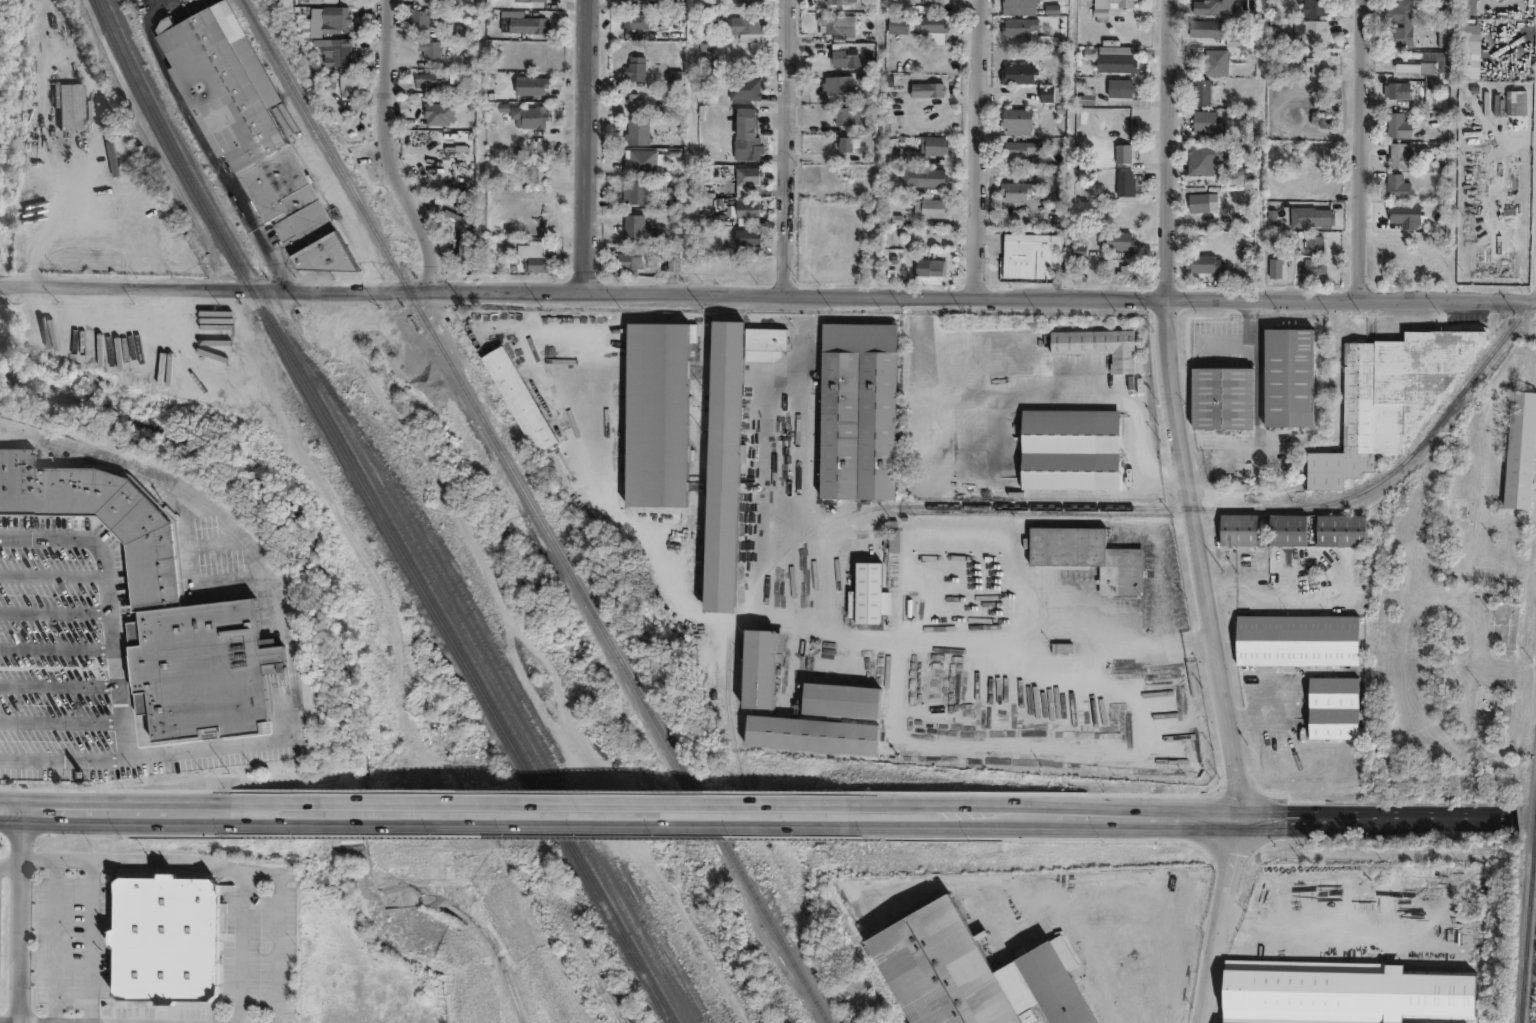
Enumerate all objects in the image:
building: (532, 0)
building: (742, 0)
building: (837, 1)
building: (933, 2)
building: (644, 3)
building: (1119, 4)
building: (1017, 7)
building: (1210, 7)
building: (1314, 7)
building: (1467, 7)
building: (1442, 8)
building: (1099, 14)
building: (423, 15)
building: (330, 17)
building: (529, 19)
building: (629, 23)
building: (1398, 23)
building: (744, 25)
building: (835, 25)
building: (921, 27)
building: (1017, 27)
building: (1212, 32)
building: (1310, 32)
building: (1442, 34)
building: (1042, 41)
building: (428, 46)
building: (334, 50)
building: (1469, 50)
building: (1113, 51)
building: (840, 54)
building: (1431, 58)
building: (1215, 62)
building: (1113, 64)
building: (1319, 65)
building: (635, 68)
building: (1016, 74)
building: (424, 76)
building: (531, 82)
building: (745, 87)
building: (352, 88)
building: (837, 89)
building: (1118, 89)
building: (925, 90)
building: (1396, 90)
building: (1200, 92)
building: (1045, 94)
building: (1085, 97)
building: (635, 103)
building: (66, 105)
building: (1524, 105)
building: (439, 112)
building: (528, 114)
building: (844, 116)
building: (1319, 118)
building: (1014, 121)
building: (1203, 122)
building: (1397, 126)
building: (637, 131)
building: (747, 135)
building: (255, 141)
building: (846, 143)
building: (932, 145)
road: (588, 147)
road: (783, 148)
road: (880, 148)
road: (390, 149)
road: (977, 149)
road: (1359, 150)
building: (1016, 151)
building: (1120, 154)
building: (898, 157)
building: (1399, 157)
building: (1203, 158)
building: (643, 161)
building: (431, 169)
building: (532, 172)
building: (747, 174)
building: (921, 178)
building: (458, 181)
building: (1123, 184)
building: (1396, 187)
building: (637, 191)
building: (1013, 192)
building: (1202, 202)
building: (473, 205)
building: (747, 208)
building: (928, 209)
road: (54, 214)
building: (1310, 217)
building: (641, 232)
building: (1243, 237)
building: (750, 238)
building: (1116, 242)
building: (1315, 246)
building: (465, 250)
building: (539, 257)
building: (632, 259)
building: (1026, 259)
building: (1203, 266)
building: (936, 269)
building: (1277, 270)
building: (1316, 270)
building: (1127, 275)
road: (767, 296)
building: (765, 344)
building: (1099, 346)
building: (1289, 377)
building: (1391, 396)
building: (1223, 398)
building: (518, 399)
road: (1257, 402)
building: (858, 411)
building: (655, 413)
road: (806, 423)
building: (1521, 447)
building: (1070, 450)
building: (722, 467)
railway: (416, 507)
railway: (535, 511)
building: (1453, 511)
road: (1194, 513)
railway: (379, 514)
building: (101, 515)
building: (1239, 530)
building: (1287, 530)
building: (1341, 531)
building: (895, 542)
road: (985, 542)
building: (1088, 557)
road: (54, 576)
railway: (431, 586)
building: (868, 595)
road: (1272, 597)
road: (56, 608)
road: (285, 618)
road: (926, 618)
road: (114, 624)
building: (1452, 637)
building: (1298, 640)
road: (1172, 643)
road: (941, 647)
road: (58, 648)
building: (1062, 648)
building: (201, 667)
building: (770, 669)
building: (1450, 687)
building: (854, 700)
railway: (511, 707)
building: (1334, 708)
road: (61, 721)
building: (832, 736)
road: (1015, 743)
railway: (546, 747)
road: (62, 757)
railway: (1535, 791)
road: (542, 800)
road: (912, 801)
road: (1268, 813)
road: (133, 814)
railway: (1534, 814)
road: (542, 822)
road: (912, 822)
road: (10, 862)
road: (222, 867)
road: (1234, 904)
road: (20, 917)
road: (1326, 917)
railway: (1526, 927)
railway: (631, 931)
building: (163, 938)
road: (55, 941)
road: (89, 942)
road: (240, 947)
railway: (587, 949)
railway: (578, 951)
building: (969, 973)
building: (1337, 992)

